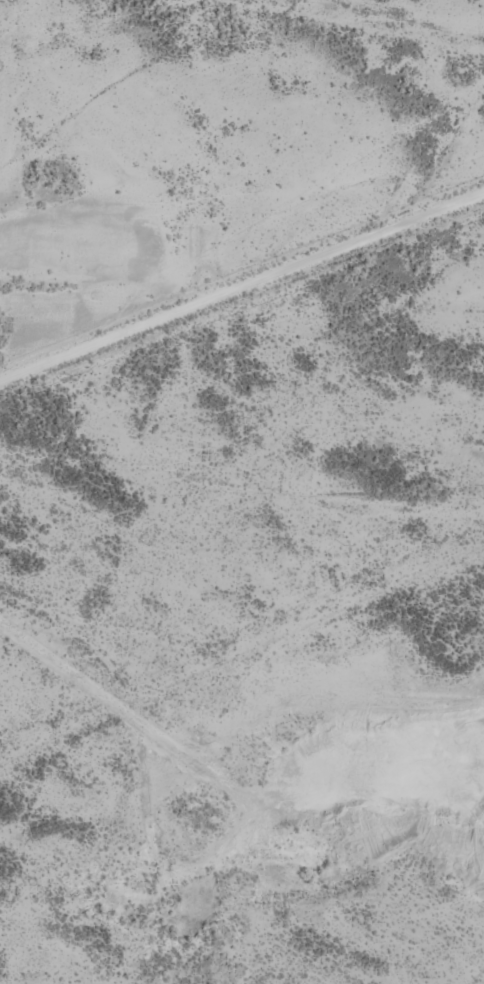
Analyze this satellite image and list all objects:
road: (242, 237)

